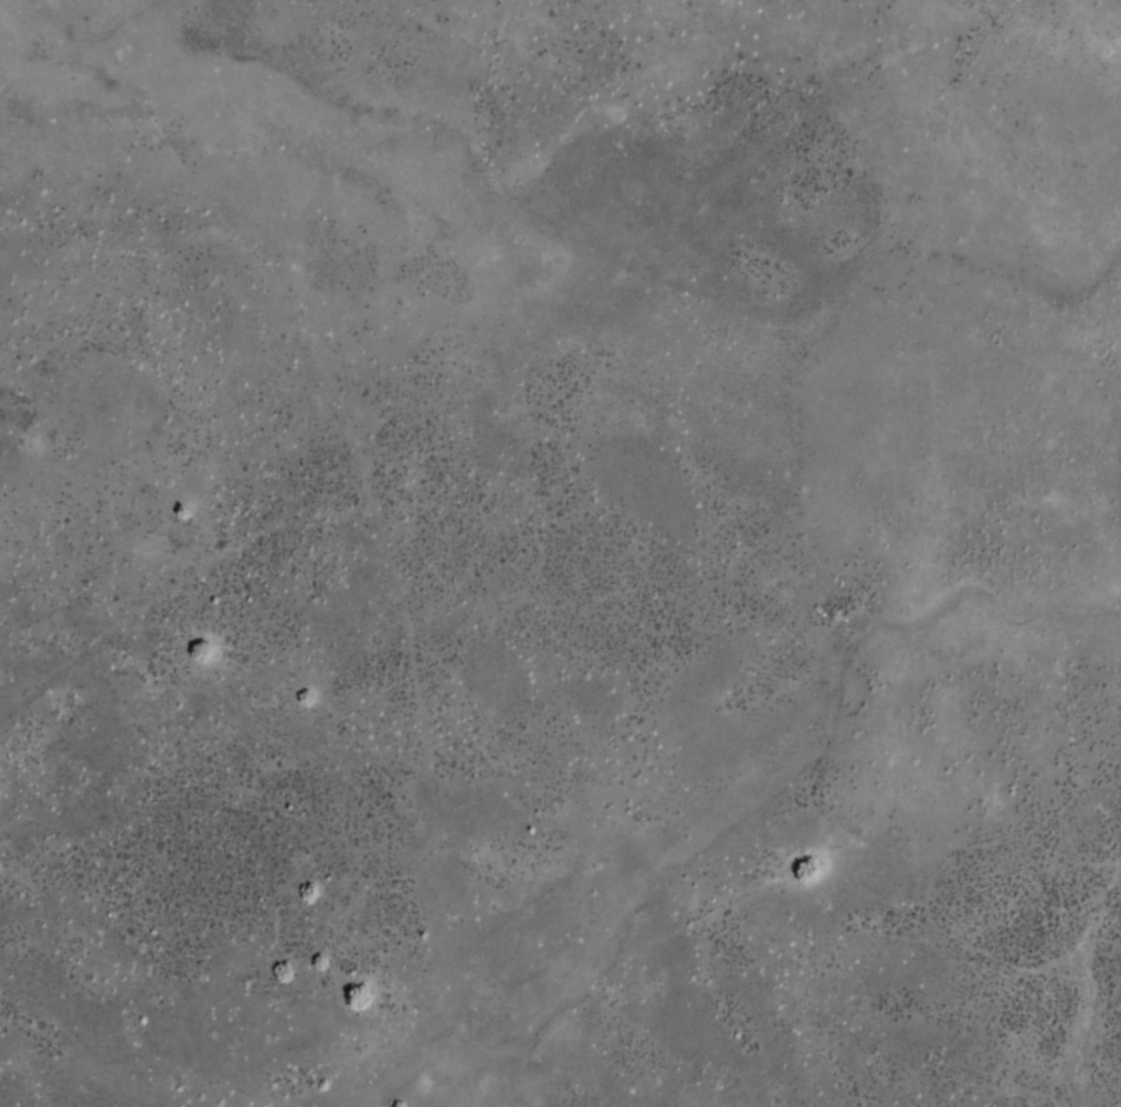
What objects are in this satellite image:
road: (369, 511)
road: (794, 1100)

